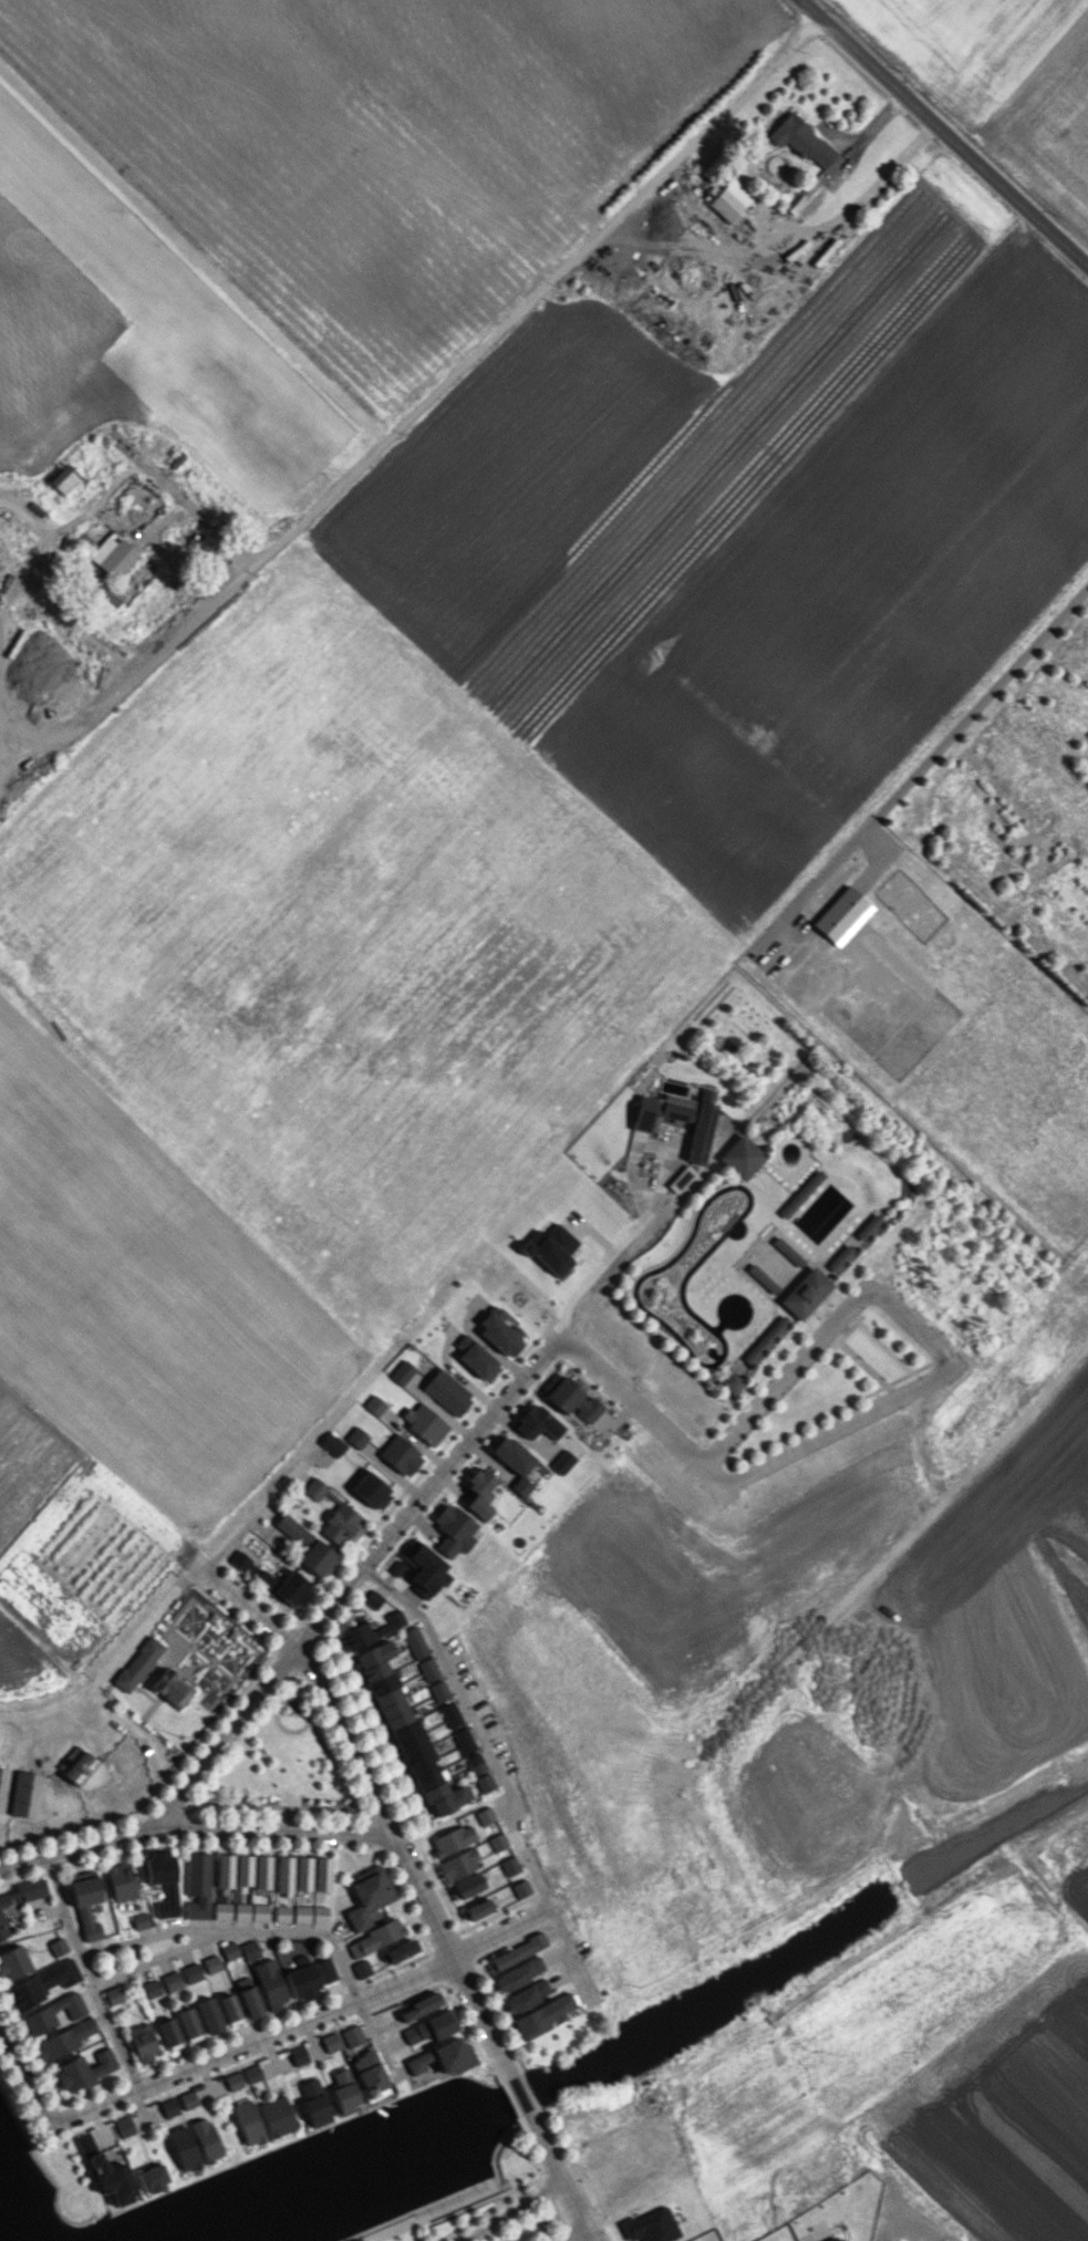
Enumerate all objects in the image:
road: (943, 133)
building: (800, 139)
building: (729, 200)
road: (433, 394)
building: (63, 478)
building: (113, 554)
road: (940, 753)
building: (842, 915)
building: (740, 1156)
building: (800, 1193)
building: (868, 1226)
building: (551, 1249)
building: (840, 1257)
road: (588, 1276)
building: (761, 1279)
building: (805, 1293)
building: (498, 1330)
building: (765, 1339)
building: (475, 1358)
building: (401, 1372)
road: (785, 1376)
building: (729, 1382)
building: (446, 1392)
building: (571, 1399)
road: (887, 1399)
building: (374, 1404)
road: (641, 1410)
building: (424, 1422)
building: (537, 1422)
building: (355, 1436)
building: (331, 1443)
building: (400, 1455)
building: (510, 1455)
building: (561, 1462)
road: (1049, 1463)
building: (520, 1486)
building: (370, 1491)
building: (478, 1493)
building: (335, 1516)
road: (251, 1518)
building: (453, 1529)
building: (308, 1548)
building: (241, 1562)
building: (395, 1567)
building: (424, 1568)
road: (351, 1579)
building: (286, 1588)
building: (372, 1599)
road: (246, 1604)
building: (390, 1623)
building: (354, 1636)
building: (414, 1642)
road: (112, 1663)
building: (138, 1664)
building: (427, 1669)
building: (170, 1688)
building: (438, 1691)
building: (449, 1714)
road: (472, 1725)
building: (406, 1732)
building: (463, 1741)
building: (474, 1764)
building: (76, 1765)
building: (484, 1783)
building: (1, 1784)
building: (25, 1795)
road: (270, 1830)
building: (452, 1839)
building: (497, 1841)
road: (75, 1847)
road: (402, 1858)
building: (457, 1865)
building: (508, 1866)
building: (242, 1869)
building: (224, 1870)
building: (261, 1871)
building: (301, 1874)
building: (320, 1874)
building: (282, 1875)
building: (162, 1880)
building: (122, 1882)
building: (197, 1885)
building: (465, 1887)
building: (31, 1889)
building: (520, 1889)
building: (8, 1897)
building: (369, 1897)
building: (85, 1906)
building: (476, 1909)
building: (221, 1910)
building: (241, 1911)
building: (259, 1911)
building: (281, 1913)
building: (301, 1913)
building: (319, 1915)
building: (139, 1920)
building: (2, 1928)
building: (374, 1938)
building: (56, 1947)
road: (172, 1949)
building: (229, 1950)
building: (249, 1950)
building: (398, 1951)
road: (571, 1952)
building: (13, 1962)
building: (210, 1963)
building: (361, 1969)
building: (190, 1972)
building: (518, 1974)
building: (309, 1979)
building: (172, 1981)
building: (270, 1983)
building: (40, 1984)
building: (151, 1989)
building: (113, 1995)
building: (525, 1996)
building: (250, 2002)
building: (419, 2005)
building: (229, 2010)
building: (51, 2014)
building: (209, 2015)
building: (540, 2016)
road: (299, 2021)
building: (188, 2024)
building: (431, 2027)
building: (169, 2034)
road: (112, 2035)
building: (352, 2035)
building: (63, 2040)
building: (142, 2042)
building: (330, 2042)
building: (298, 2055)
building: (443, 2057)
building: (82, 2071)
building: (252, 2073)
road: (22, 2078)
building: (232, 2081)
building: (344, 2092)
road: (518, 2094)
building: (187, 2099)
building: (313, 2102)
building: (169, 2107)
building: (277, 2116)
building: (248, 2123)
building: (124, 2127)
building: (206, 2139)
road: (545, 2145)
building: (183, 2148)
building: (106, 2173)
building: (152, 2178)
road: (571, 2200)
road: (509, 2209)
building: (650, 2227)
road: (569, 2232)
road: (586, 2232)
building: (842, 2240)

